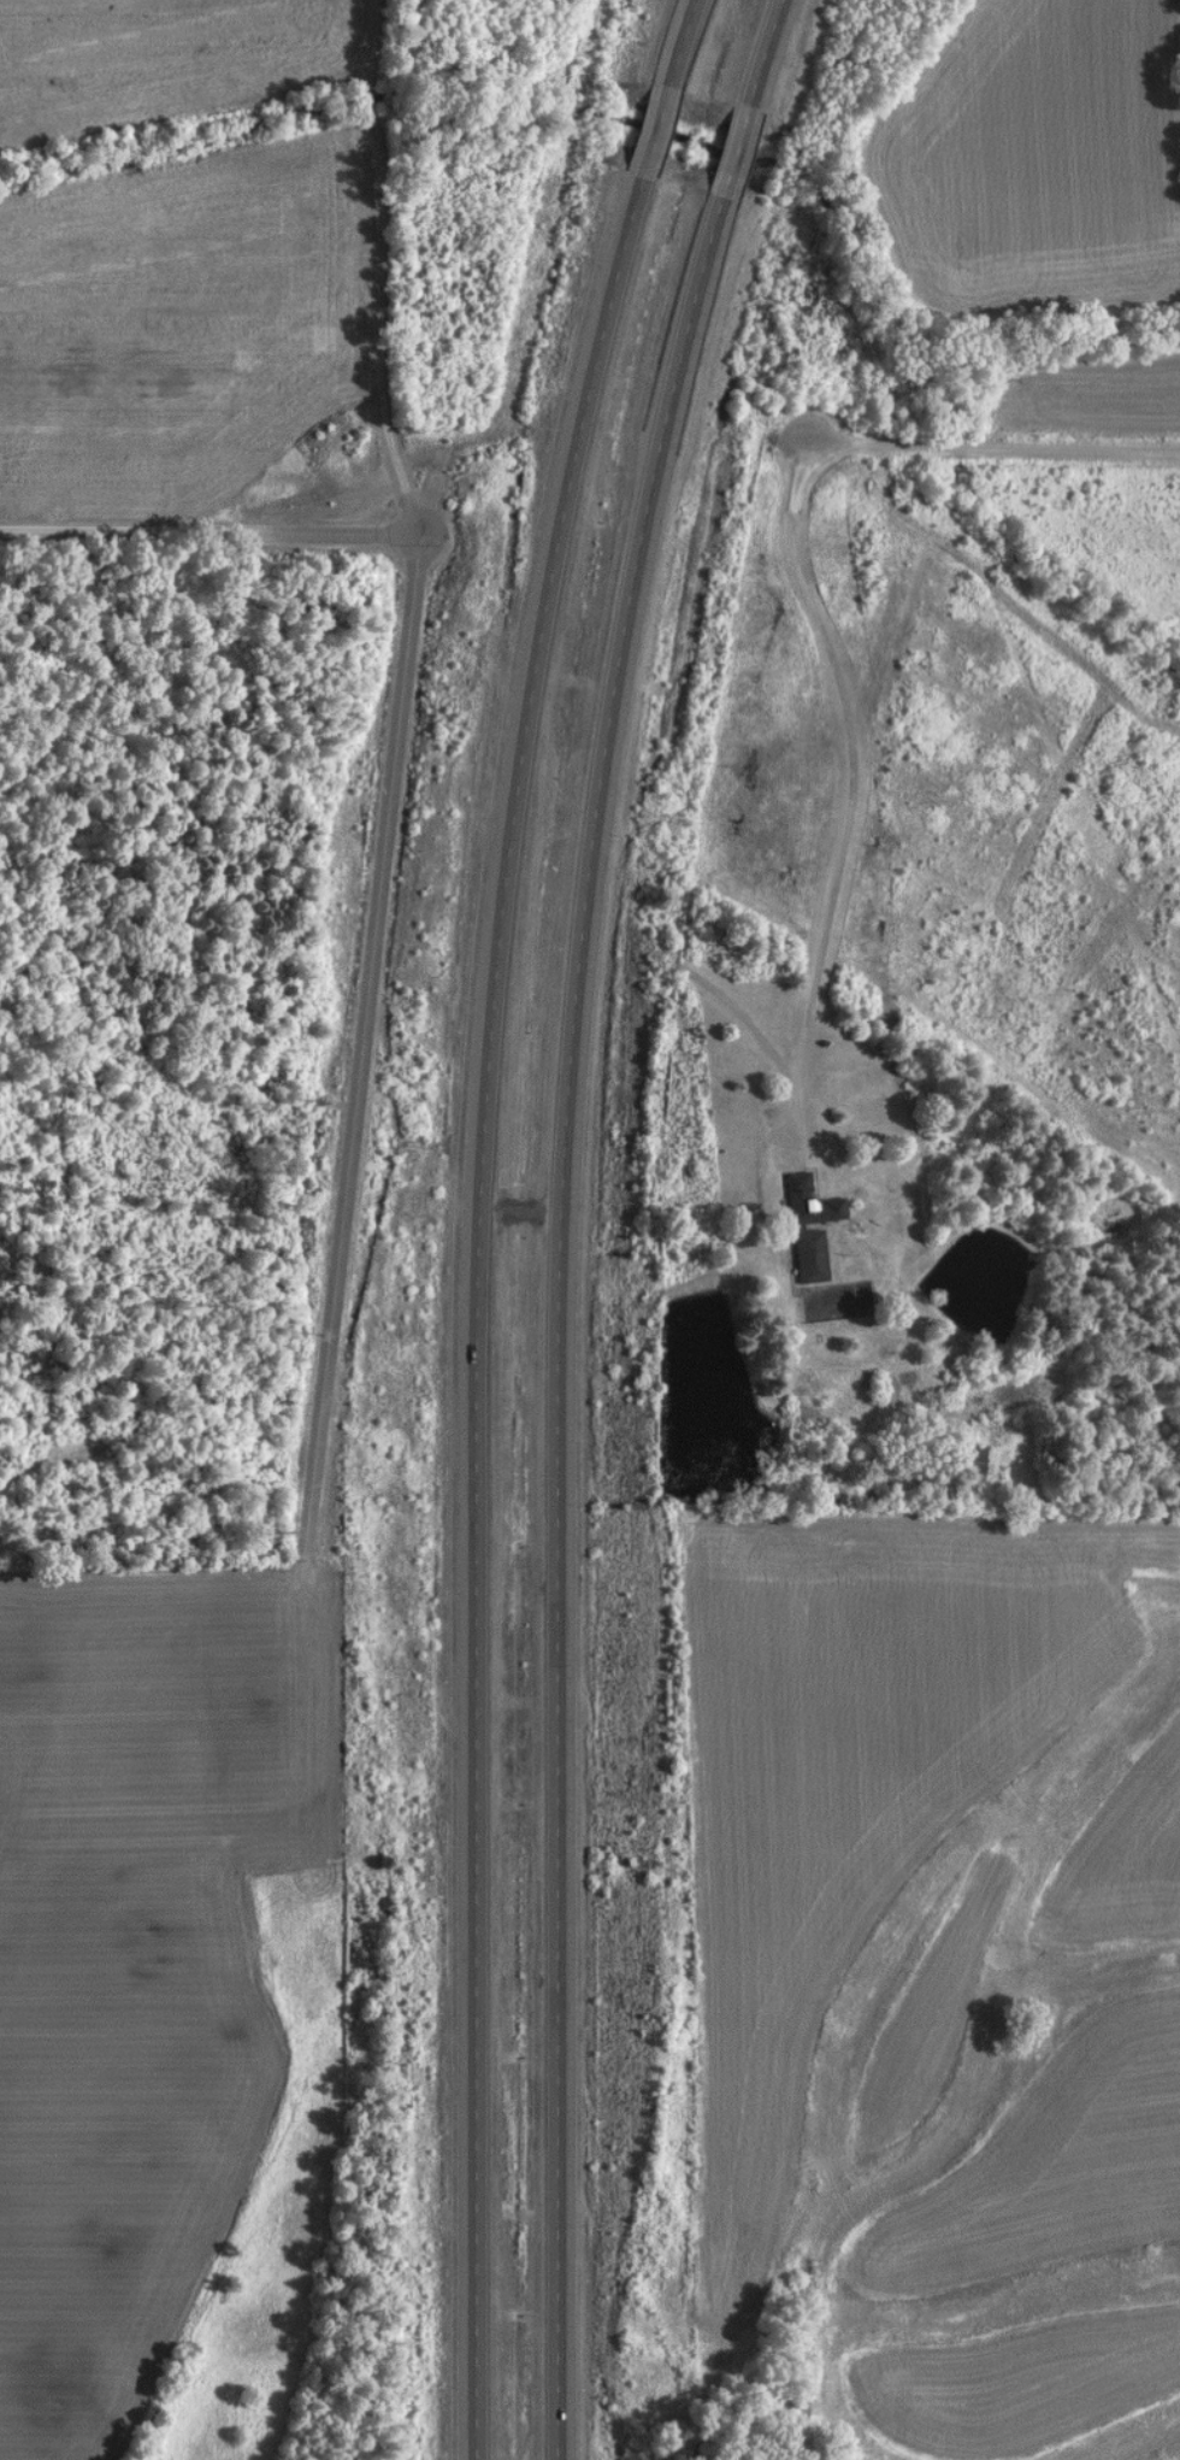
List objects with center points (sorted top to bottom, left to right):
road: (390, 275)
road: (986, 446)
road: (203, 532)
road: (355, 1050)
road: (555, 1217)
road: (474, 1218)
building: (806, 1229)
building: (968, 1464)

